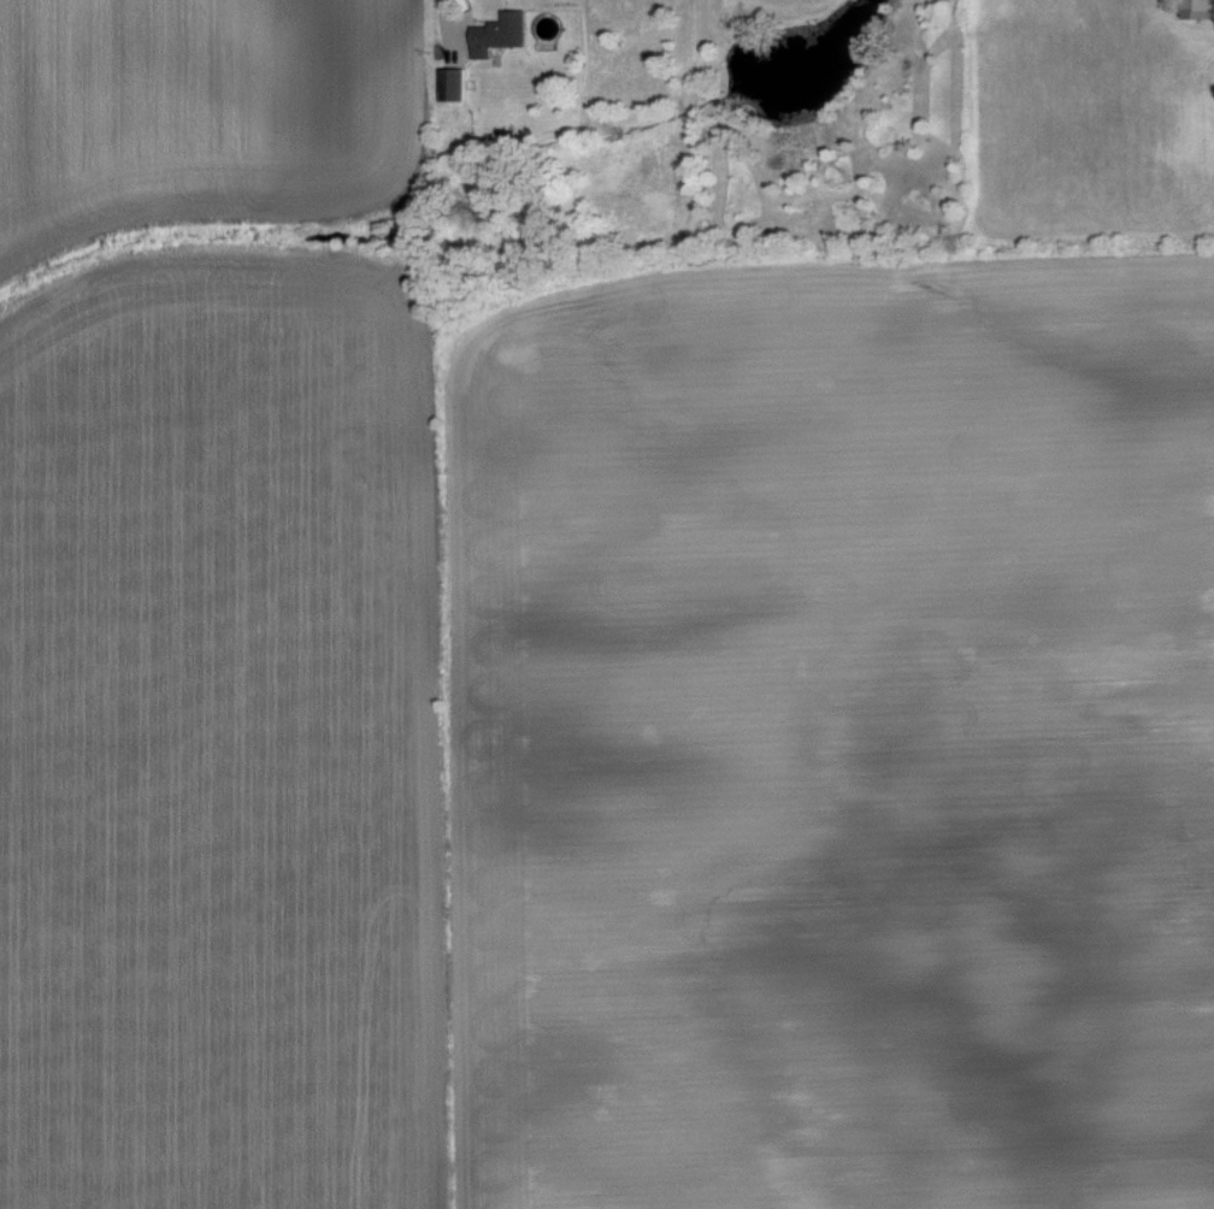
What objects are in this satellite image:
building: (1202, 8)
road: (452, 18)
building: (505, 33)

